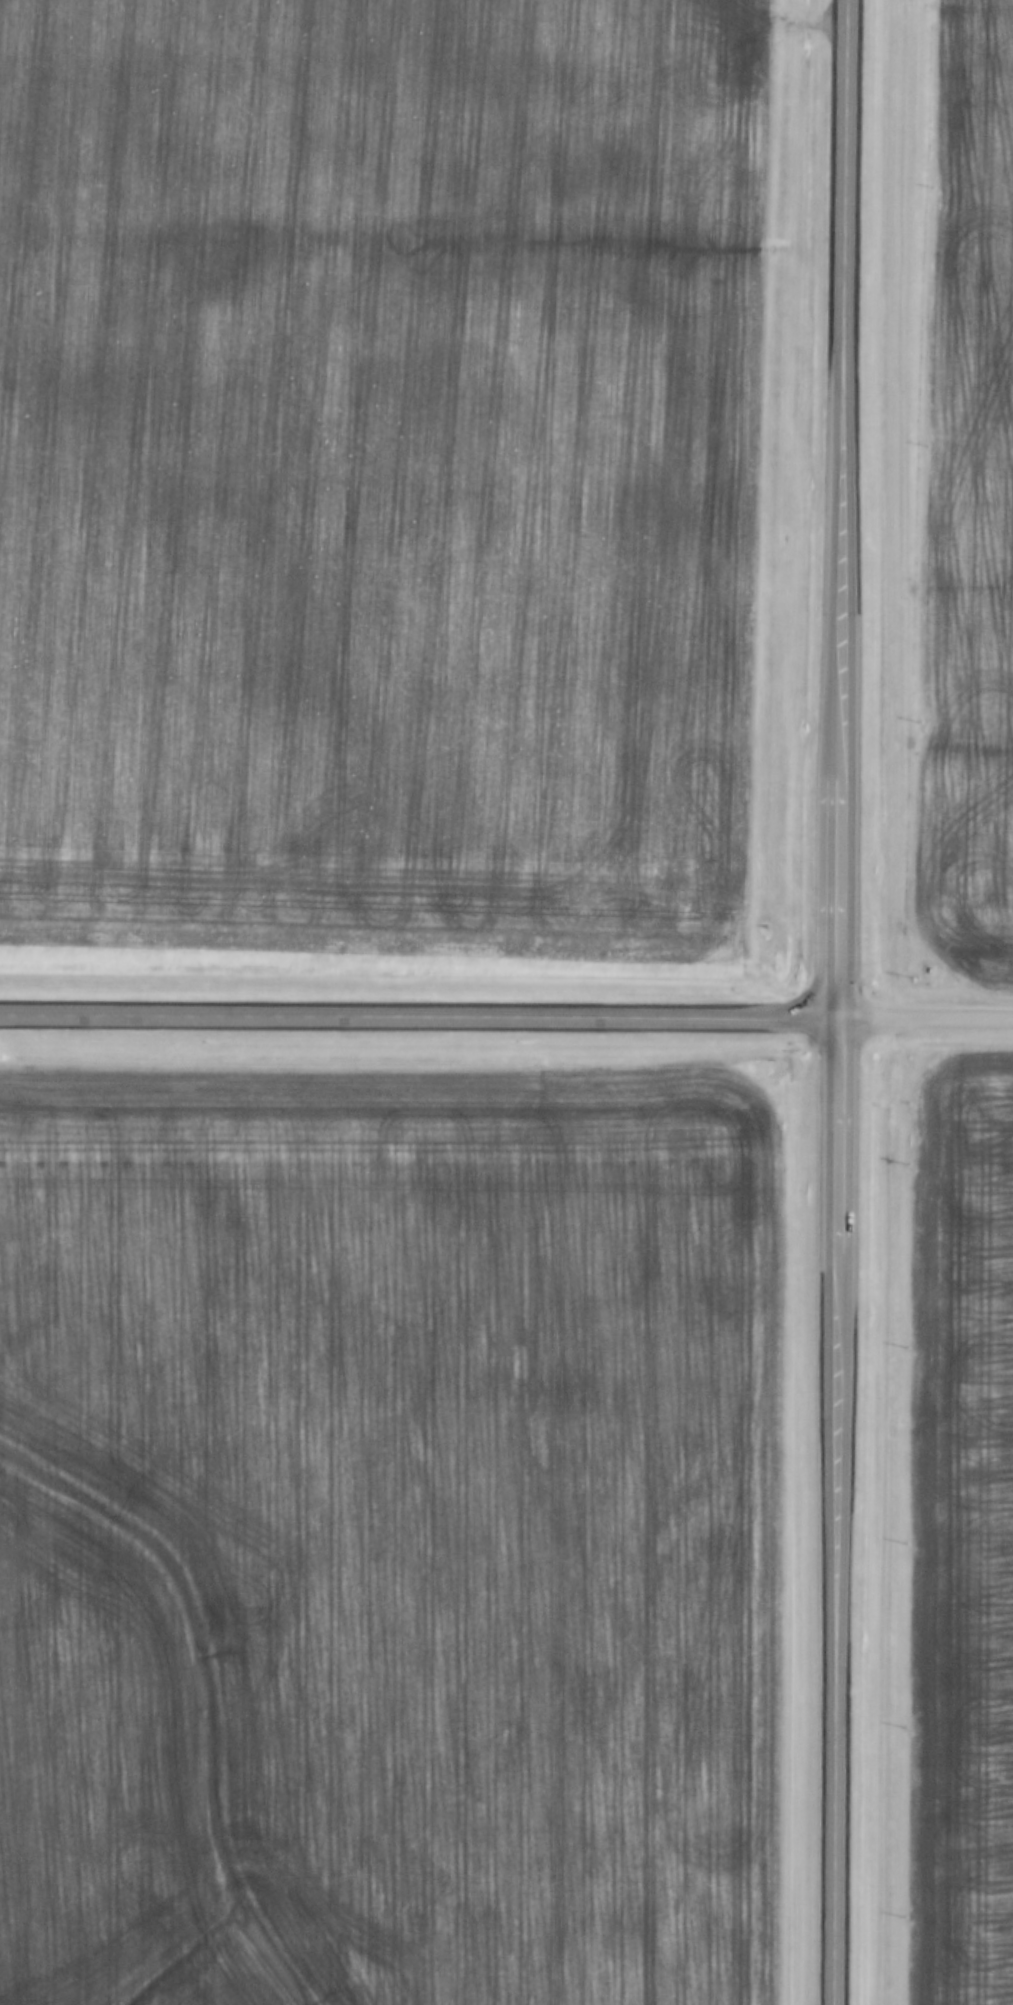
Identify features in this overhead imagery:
crop: (376, 471)
road: (839, 1002)
road: (419, 1017)
road: (926, 1020)

